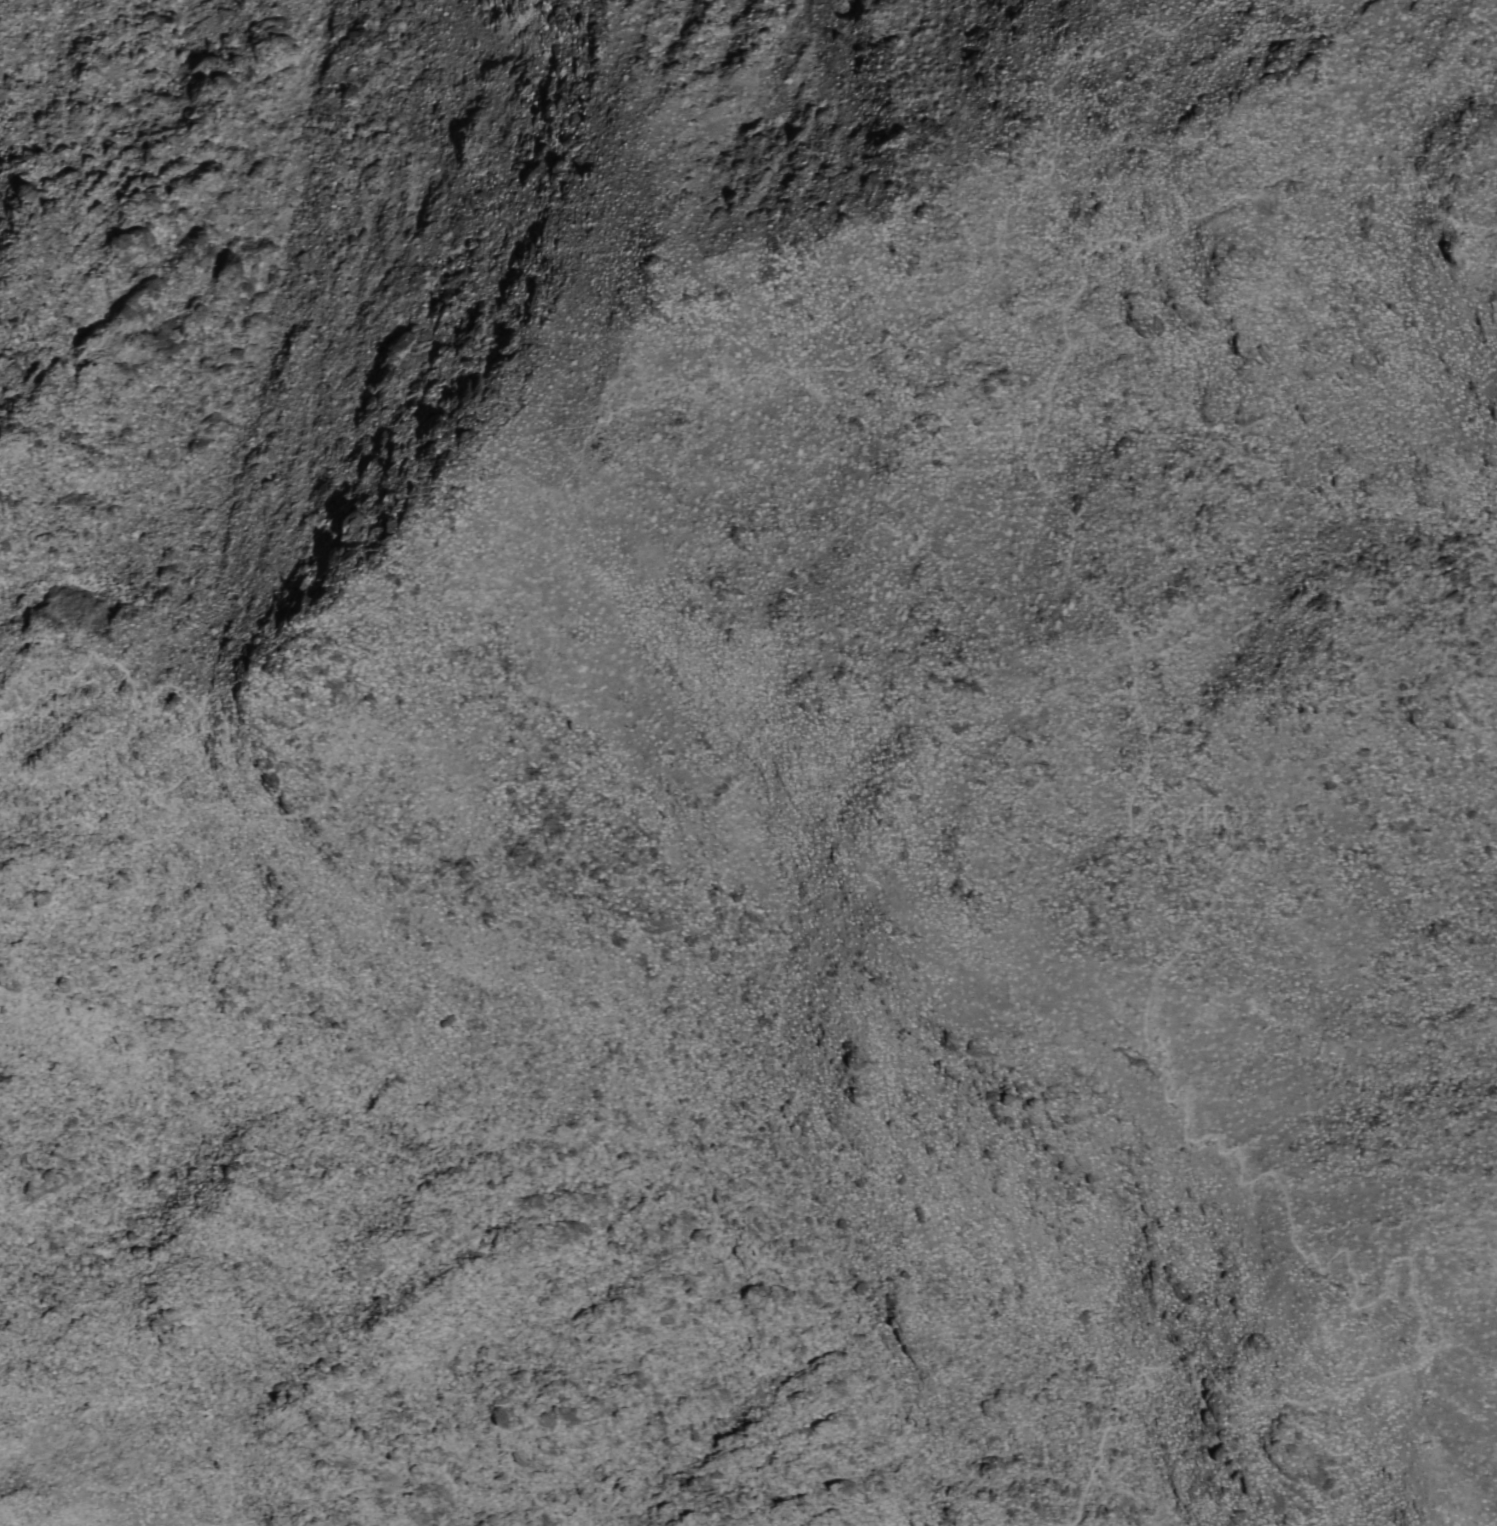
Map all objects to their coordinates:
road: (1348, 48)
road: (1098, 52)
road: (1117, 141)
road: (1037, 206)
road: (608, 406)
road: (648, 407)
road: (598, 419)
road: (552, 430)
road: (519, 510)
road: (1166, 1072)

